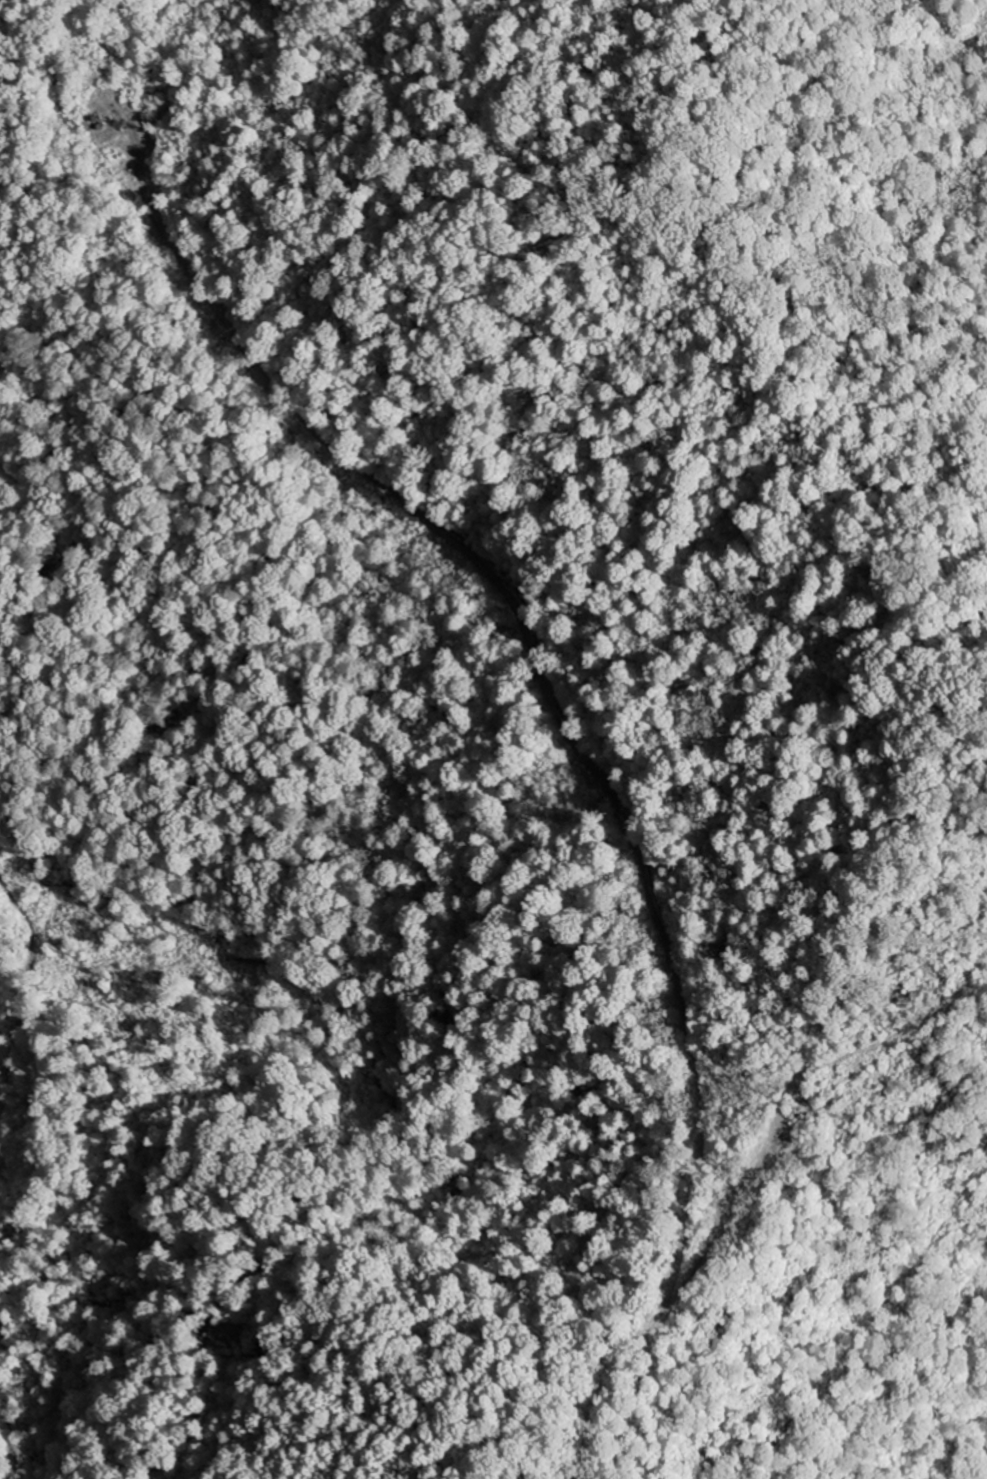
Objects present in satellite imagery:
road: (148, 81)

